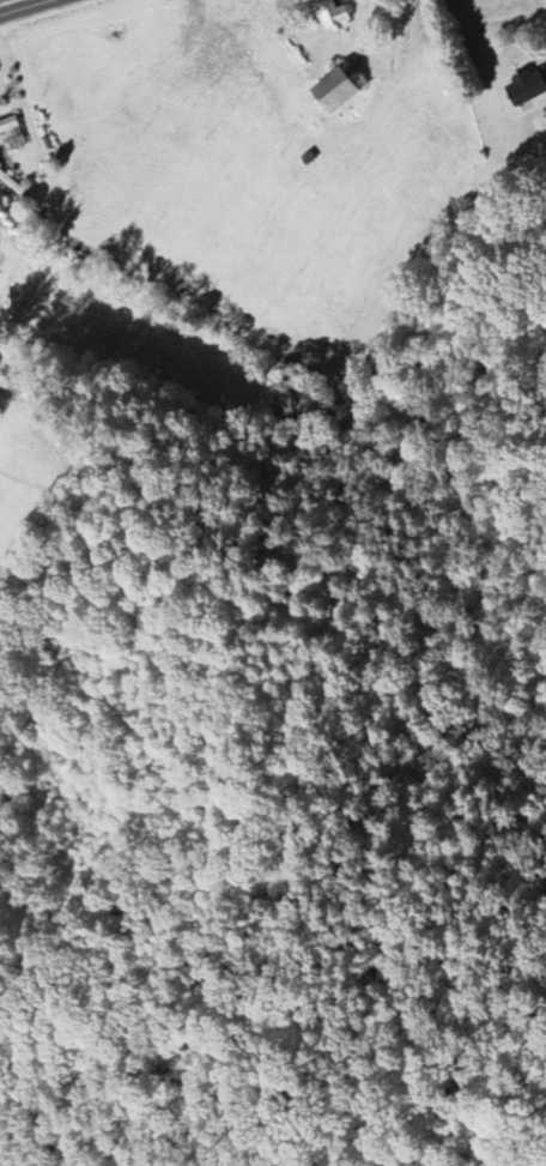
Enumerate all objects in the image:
road: (22, 6)
building: (333, 16)
road: (369, 29)
building: (526, 86)
building: (335, 90)
building: (12, 133)

